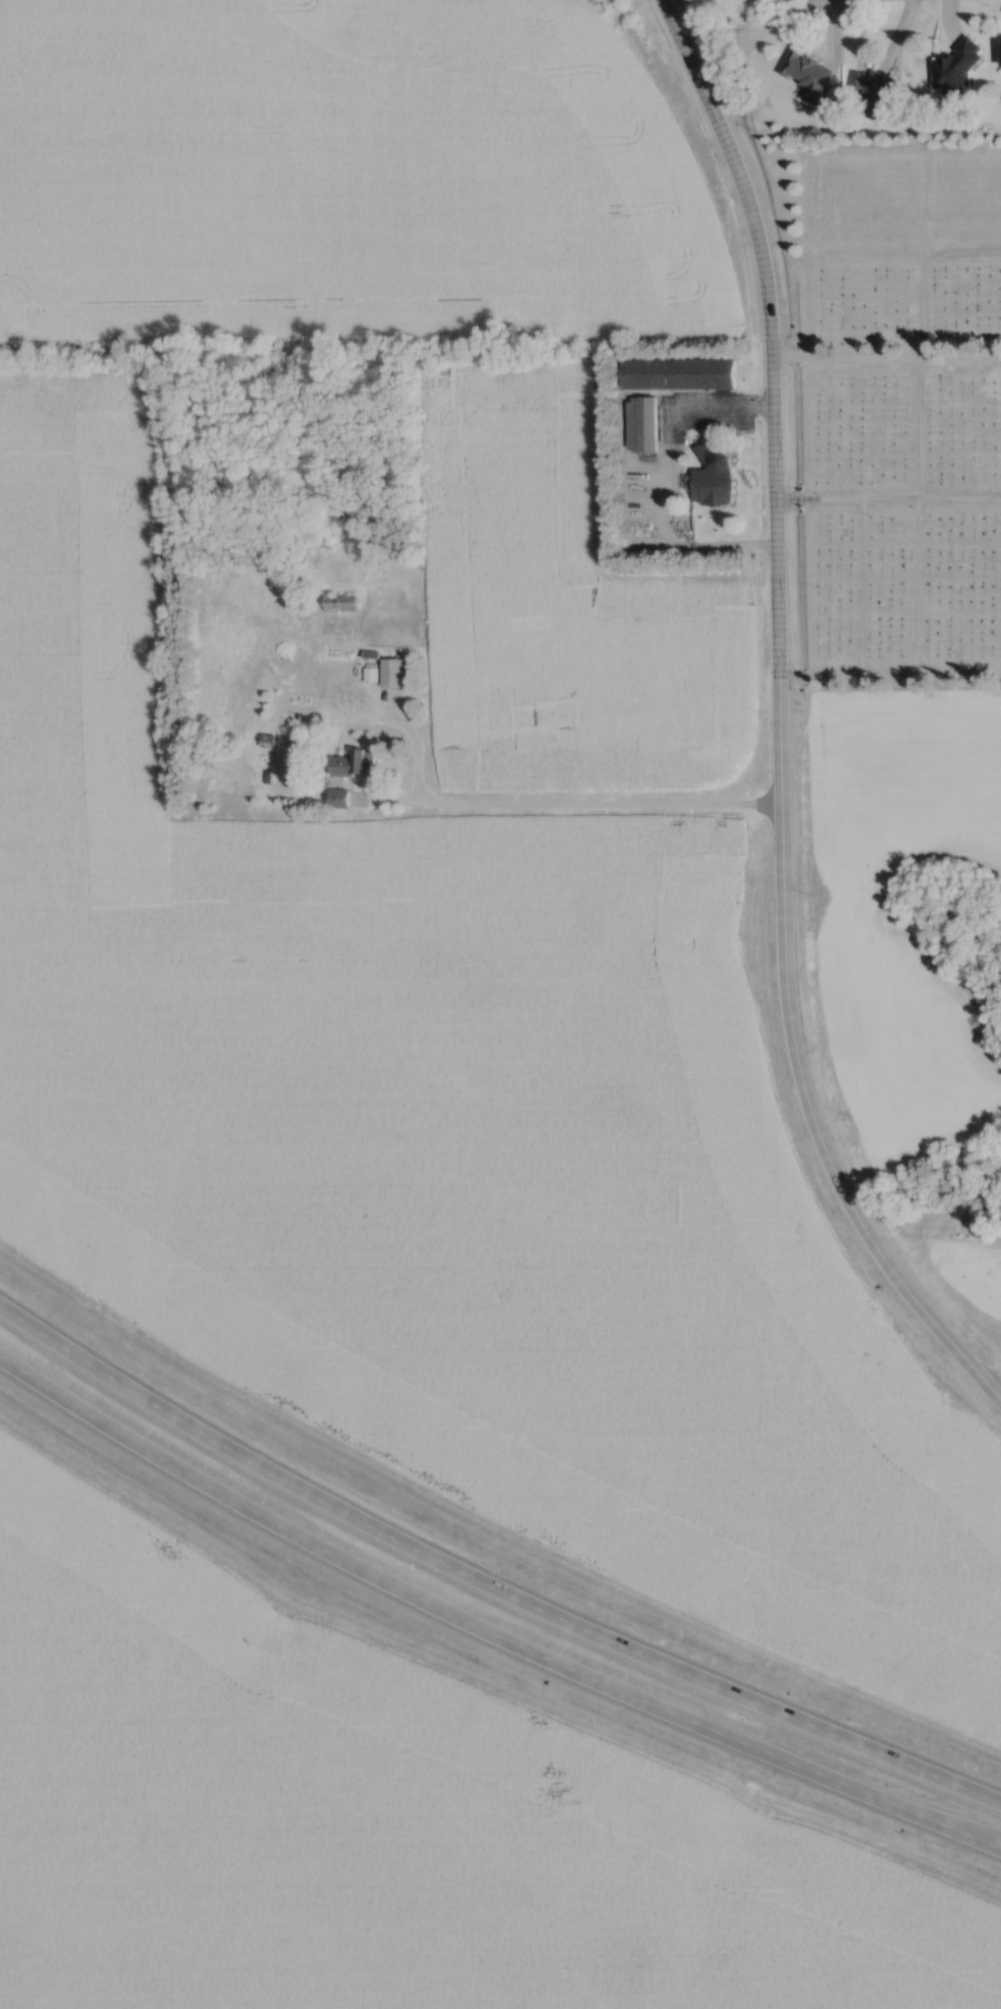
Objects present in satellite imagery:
road: (693, 65)
building: (958, 71)
building: (809, 75)
road: (962, 251)
road: (847, 357)
road: (960, 359)
building: (703, 375)
road: (774, 406)
park: (901, 411)
building: (642, 426)
road: (921, 470)
road: (664, 474)
building: (715, 478)
road: (889, 497)
building: (341, 605)
building: (394, 674)
road: (890, 674)
building: (356, 765)
building: (341, 800)
road: (546, 803)
road: (801, 1073)
road: (998, 1389)
road: (485, 1583)
road: (486, 1629)

